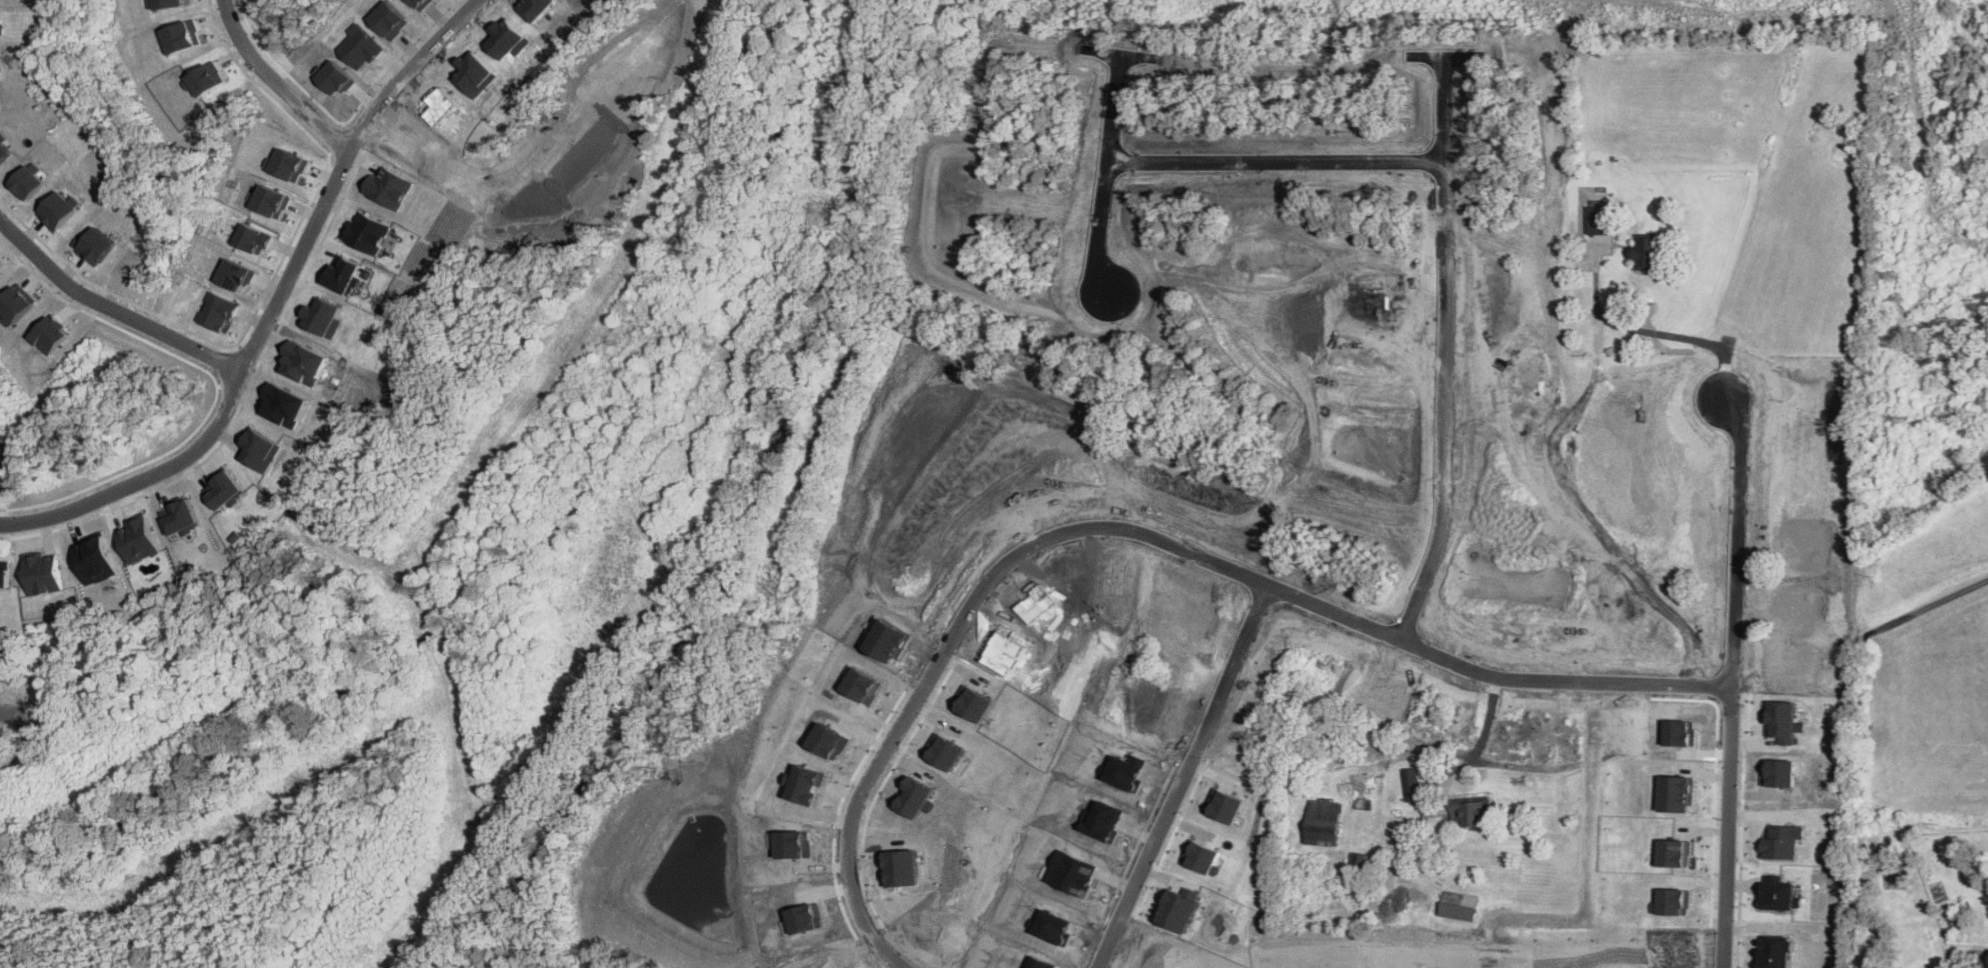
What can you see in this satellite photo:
building: (168, 3)
building: (2, 21)
building: (185, 36)
building: (0, 57)
road: (408, 71)
building: (208, 80)
road: (275, 84)
road: (1120, 110)
building: (3, 148)
road: (1277, 162)
building: (290, 165)
building: (28, 181)
building: (391, 188)
building: (272, 201)
building: (59, 209)
building: (1599, 216)
road: (1107, 224)
building: (368, 232)
building: (254, 238)
building: (95, 245)
building: (1647, 250)
road: (296, 261)
building: (0, 270)
building: (236, 274)
building: (345, 274)
building: (16, 304)
road: (112, 311)
building: (218, 311)
building: (325, 317)
road: (1648, 329)
building: (50, 335)
road: (1440, 348)
building: (306, 363)
building: (287, 405)
building: (262, 449)
building: (1986, 463)
road: (142, 478)
building: (225, 489)
building: (181, 516)
road: (1143, 535)
building: (138, 538)
building: (97, 558)
building: (45, 573)
building: (6, 578)
road: (1933, 604)
road: (1731, 683)
road: (1183, 776)
building: (1412, 784)
building: (1677, 793)
building: (1224, 805)
building: (1470, 813)
building: (1325, 823)
building: (1784, 841)
building: (1675, 852)
building: (1781, 895)
building: (1673, 901)
building: (1459, 911)
building: (1775, 952)
road: (1982, 961)

